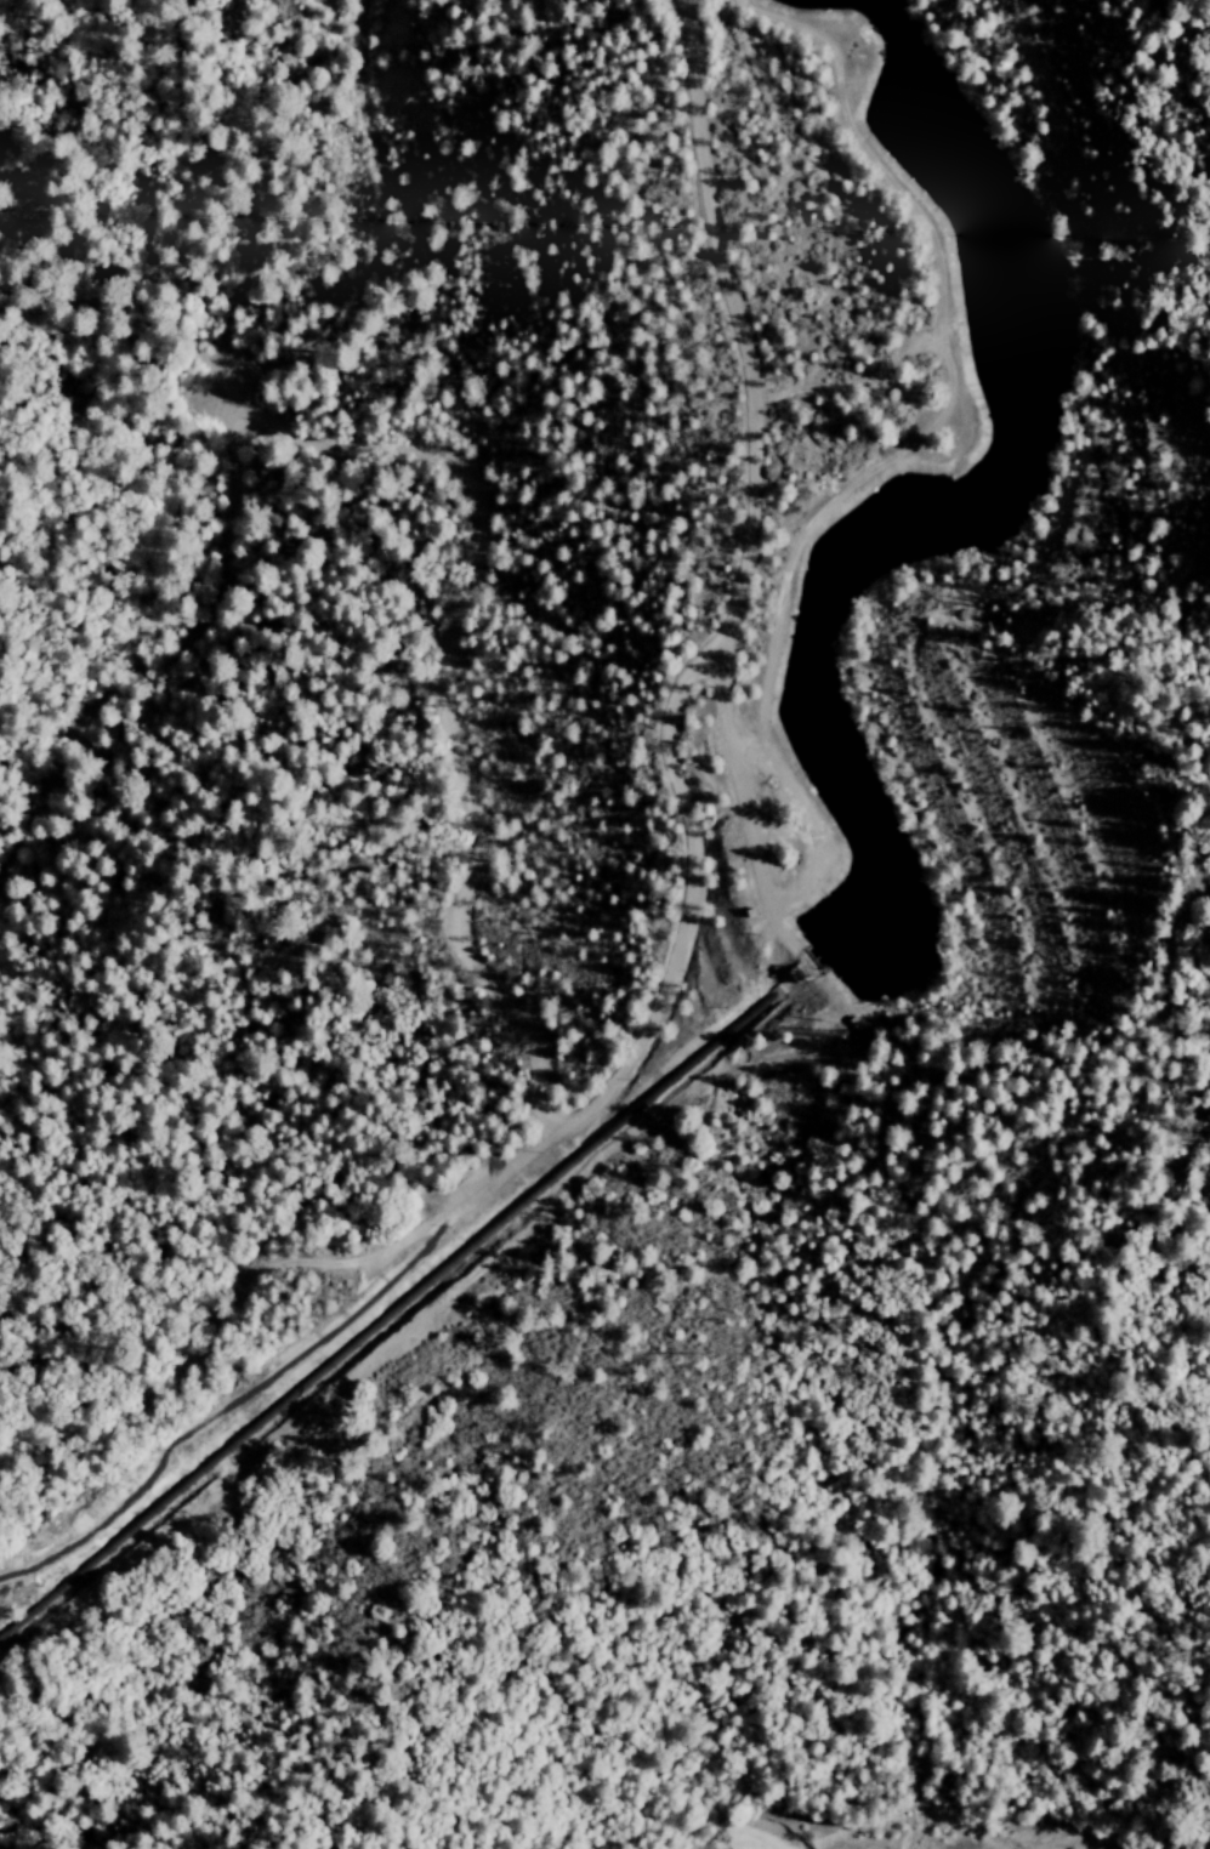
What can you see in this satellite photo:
road: (166, 635)
road: (760, 863)
road: (652, 1020)

